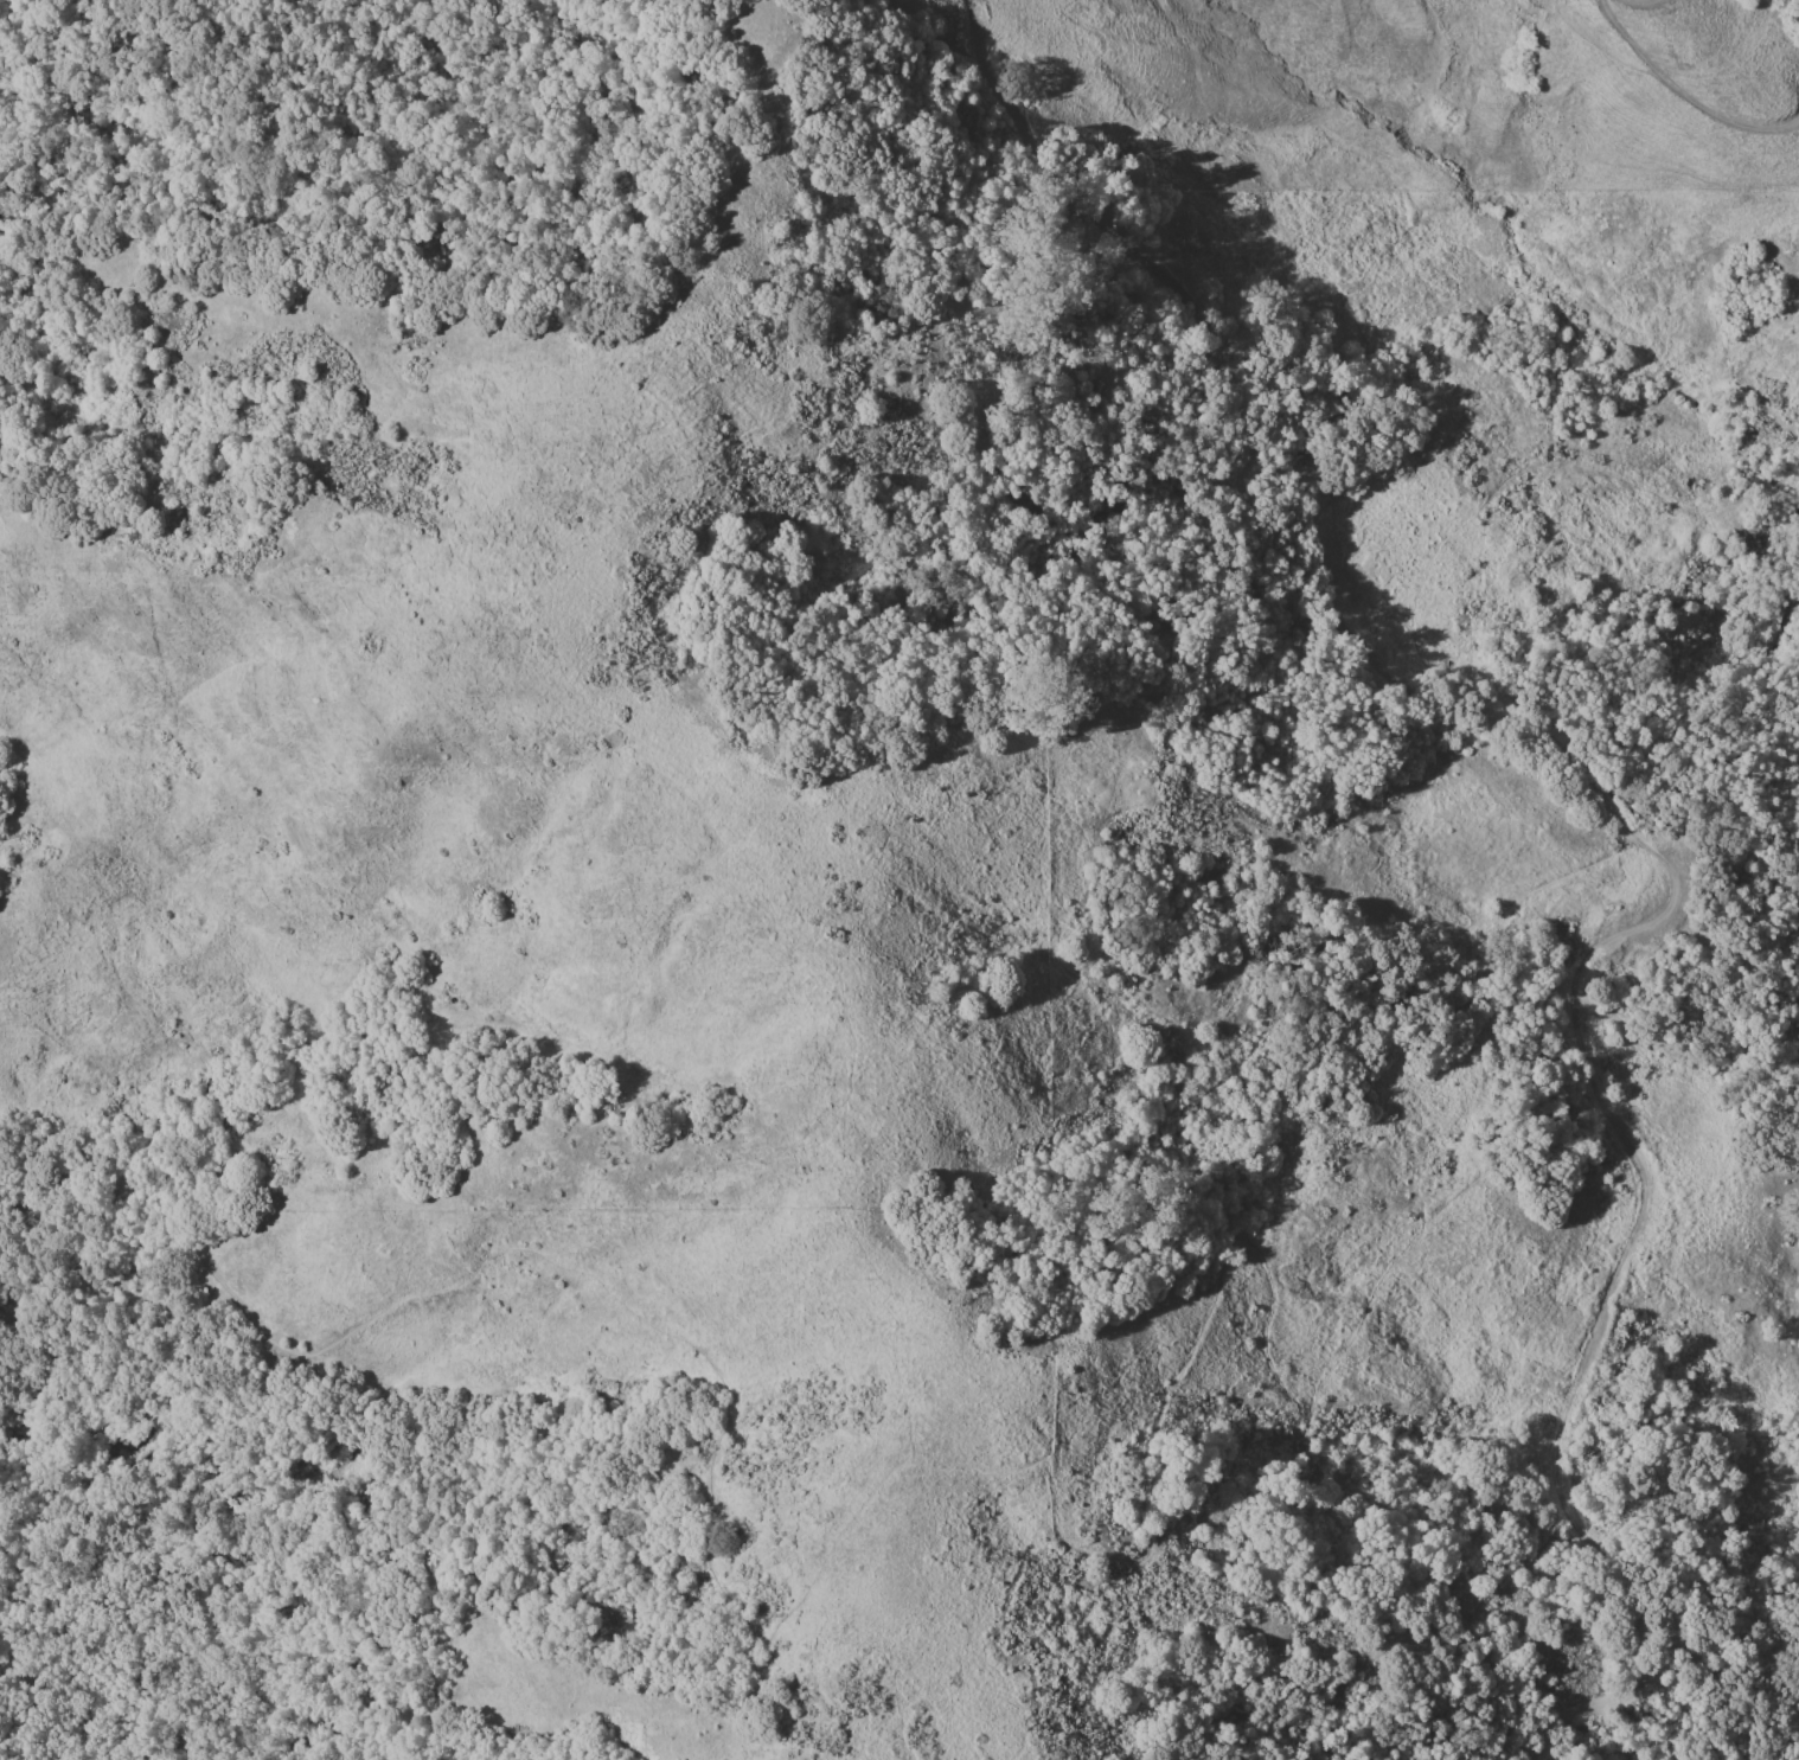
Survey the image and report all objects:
road: (1652, 1)
road: (1684, 88)
road: (1262, 439)
road: (1193, 1337)

